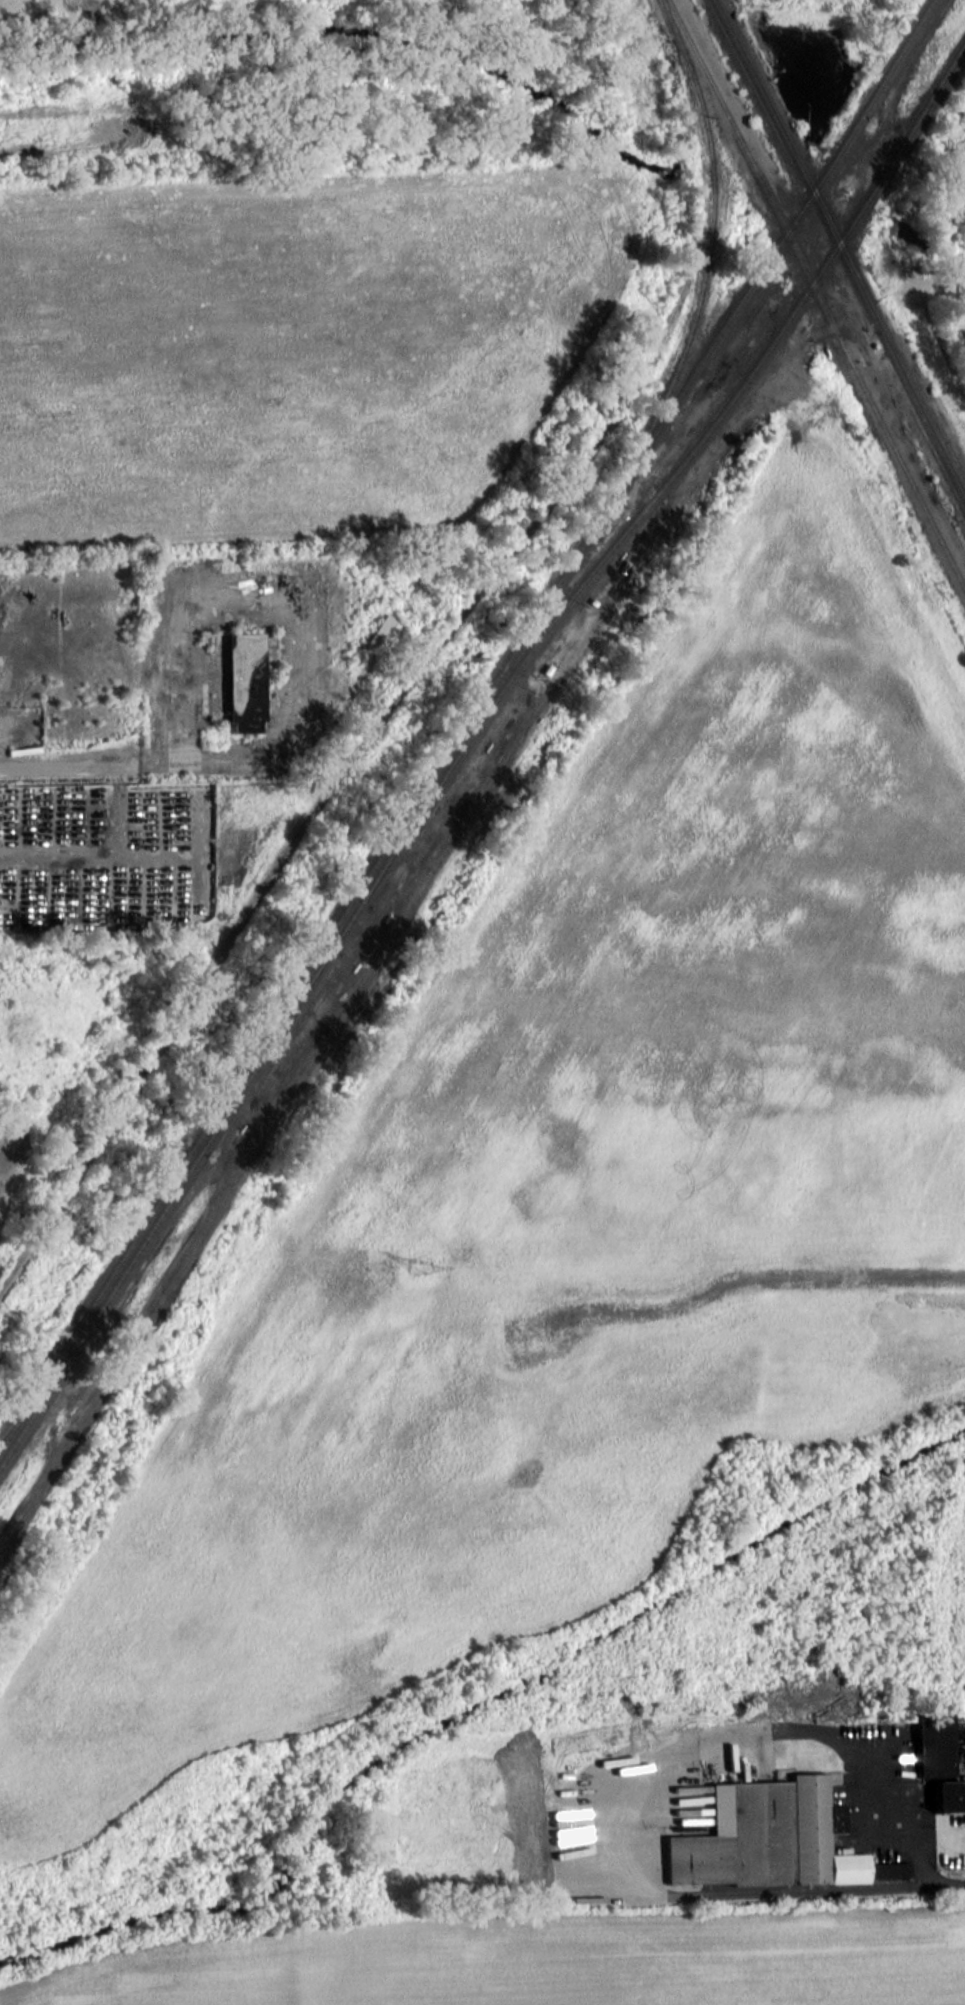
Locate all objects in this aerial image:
railway: (962, 45)
railway: (837, 251)
railway: (701, 274)
railway: (815, 297)
crop: (290, 342)
building: (379, 636)
building: (244, 681)
railway: (465, 722)
railway: (462, 744)
railway: (346, 756)
road: (123, 764)
railway: (409, 818)
railway: (274, 1027)
crop: (582, 1186)
power tower: (418, 1266)
railway: (23, 1404)
building: (938, 1762)
building: (769, 1838)
road: (939, 1885)
crop: (545, 1967)

